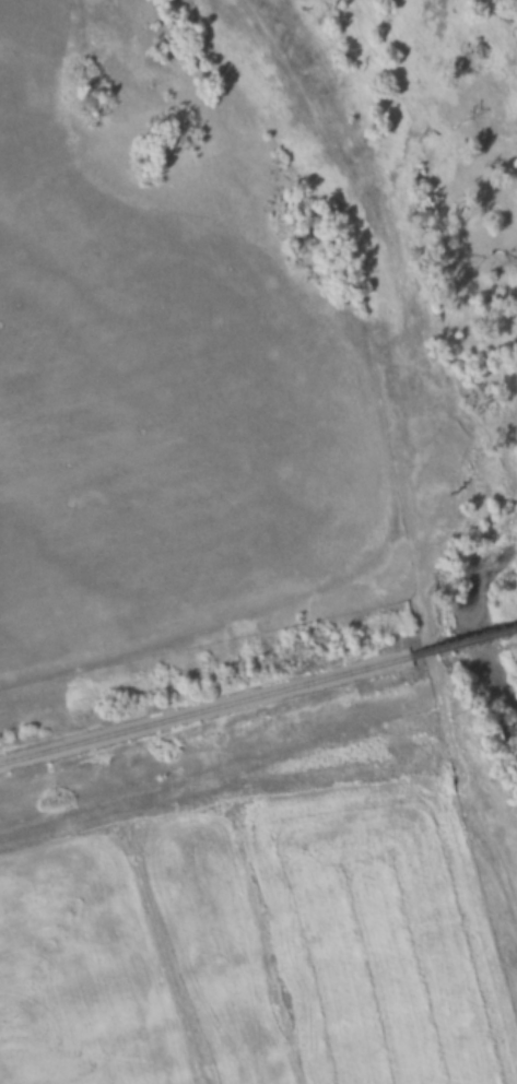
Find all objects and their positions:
railway: (463, 644)
railway: (204, 710)

